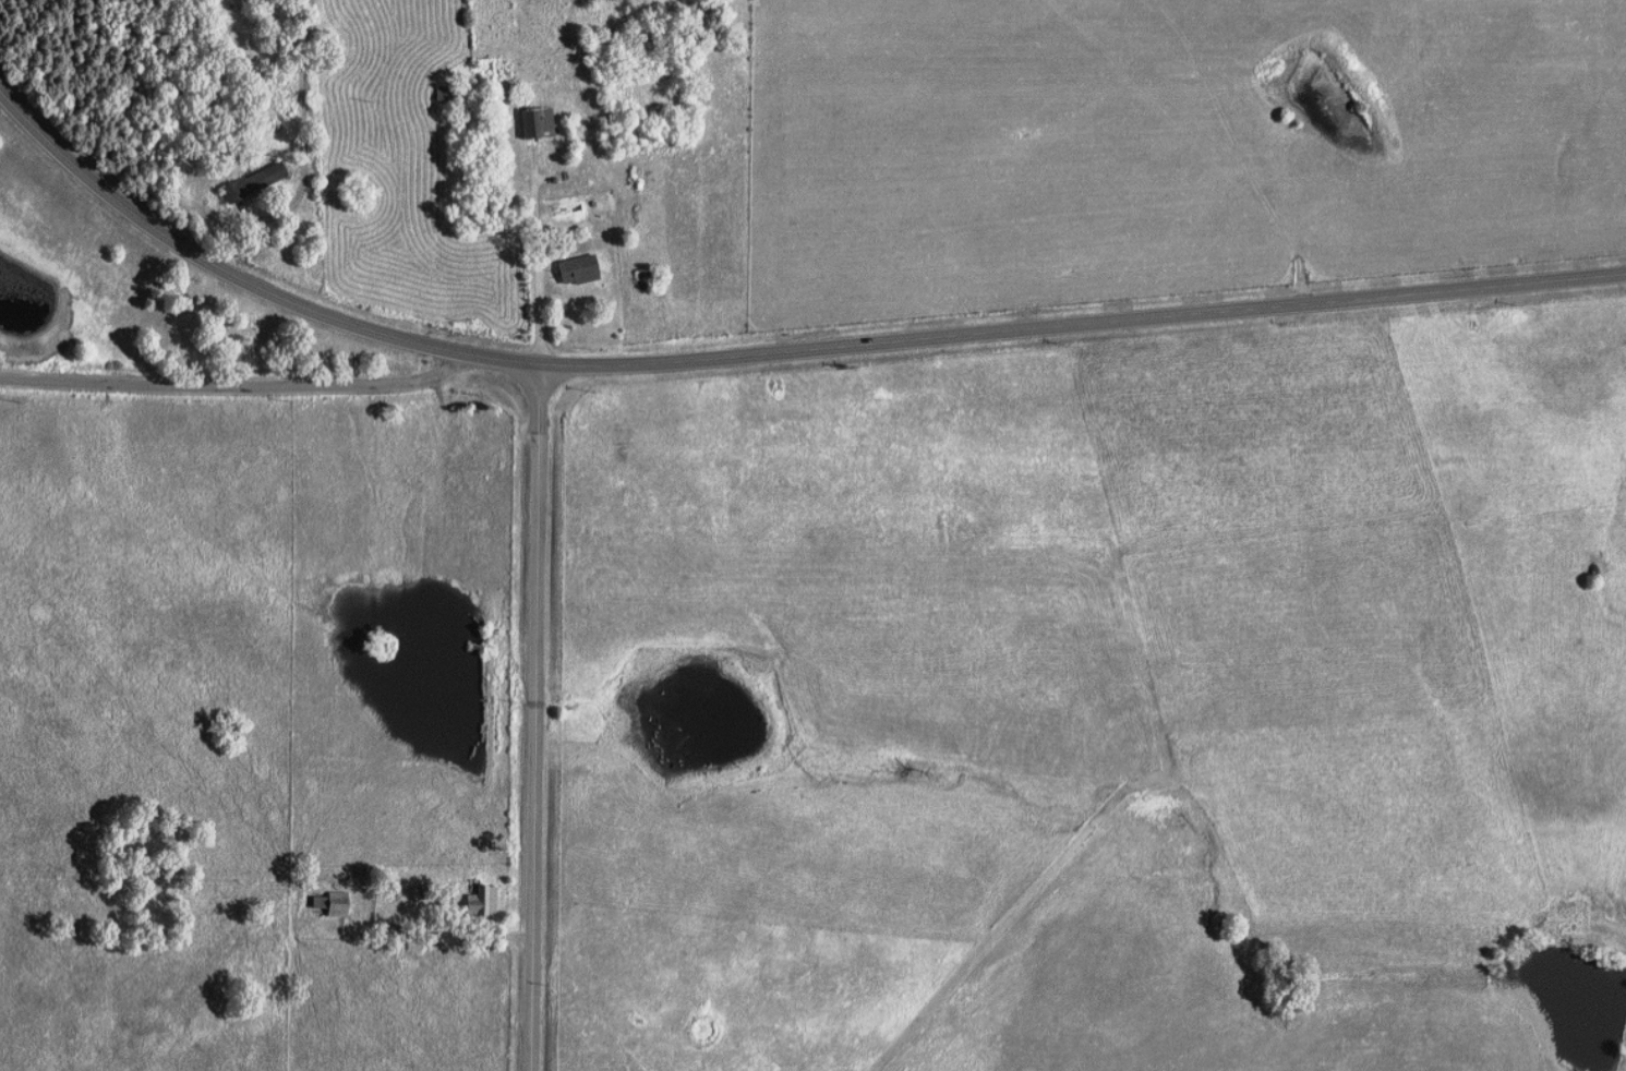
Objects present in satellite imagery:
building: (448, 94)
building: (538, 122)
road: (304, 157)
building: (255, 182)
building: (580, 269)
road: (537, 276)
road: (769, 356)
road: (237, 381)
road: (540, 723)
road: (1097, 820)
building: (483, 901)
building: (334, 903)

